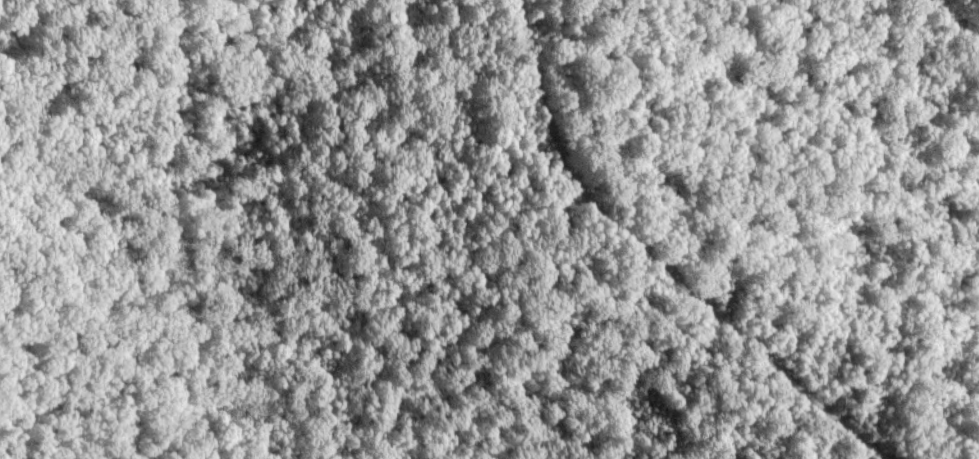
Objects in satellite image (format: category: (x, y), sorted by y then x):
road: (665, 257)

